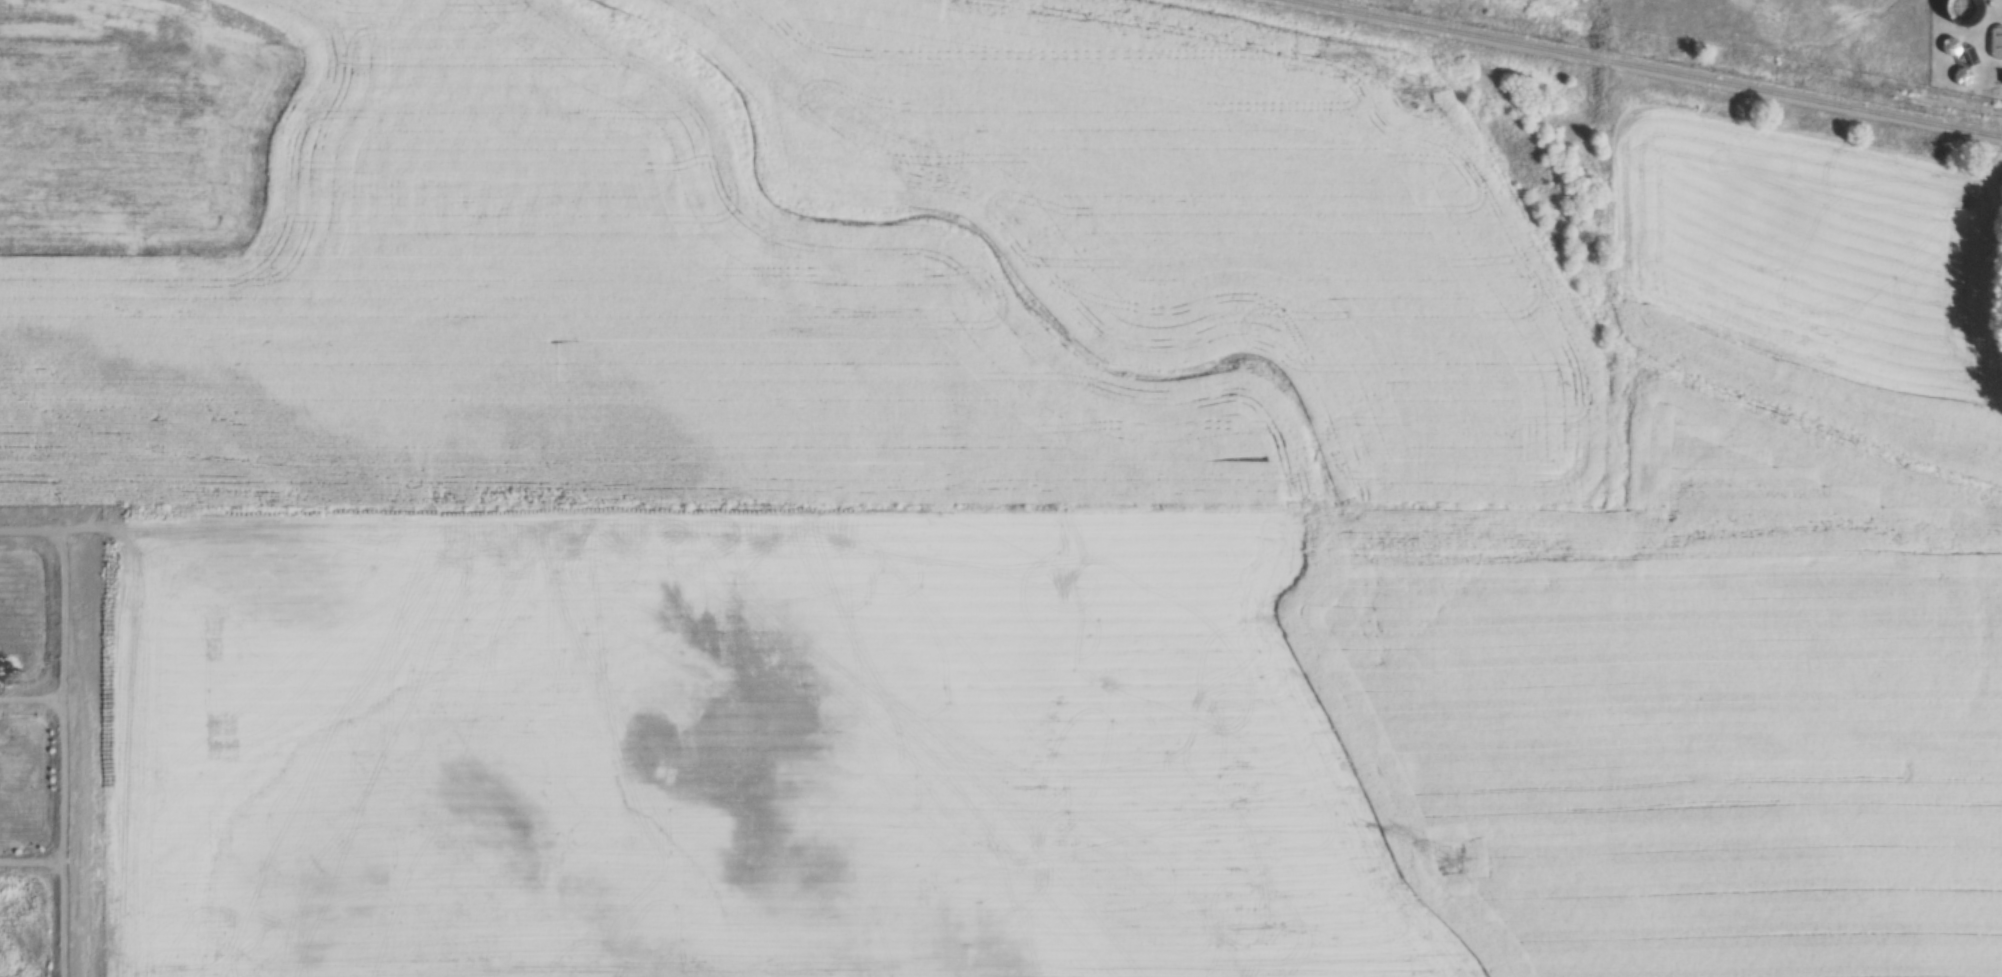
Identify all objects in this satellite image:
crop: (1567, 7)
building: (1970, 10)
building: (1950, 44)
building: (1972, 54)
railway: (1644, 68)
building: (1963, 75)
power tower: (1425, 105)
crop: (997, 499)
power tower: (1455, 867)

